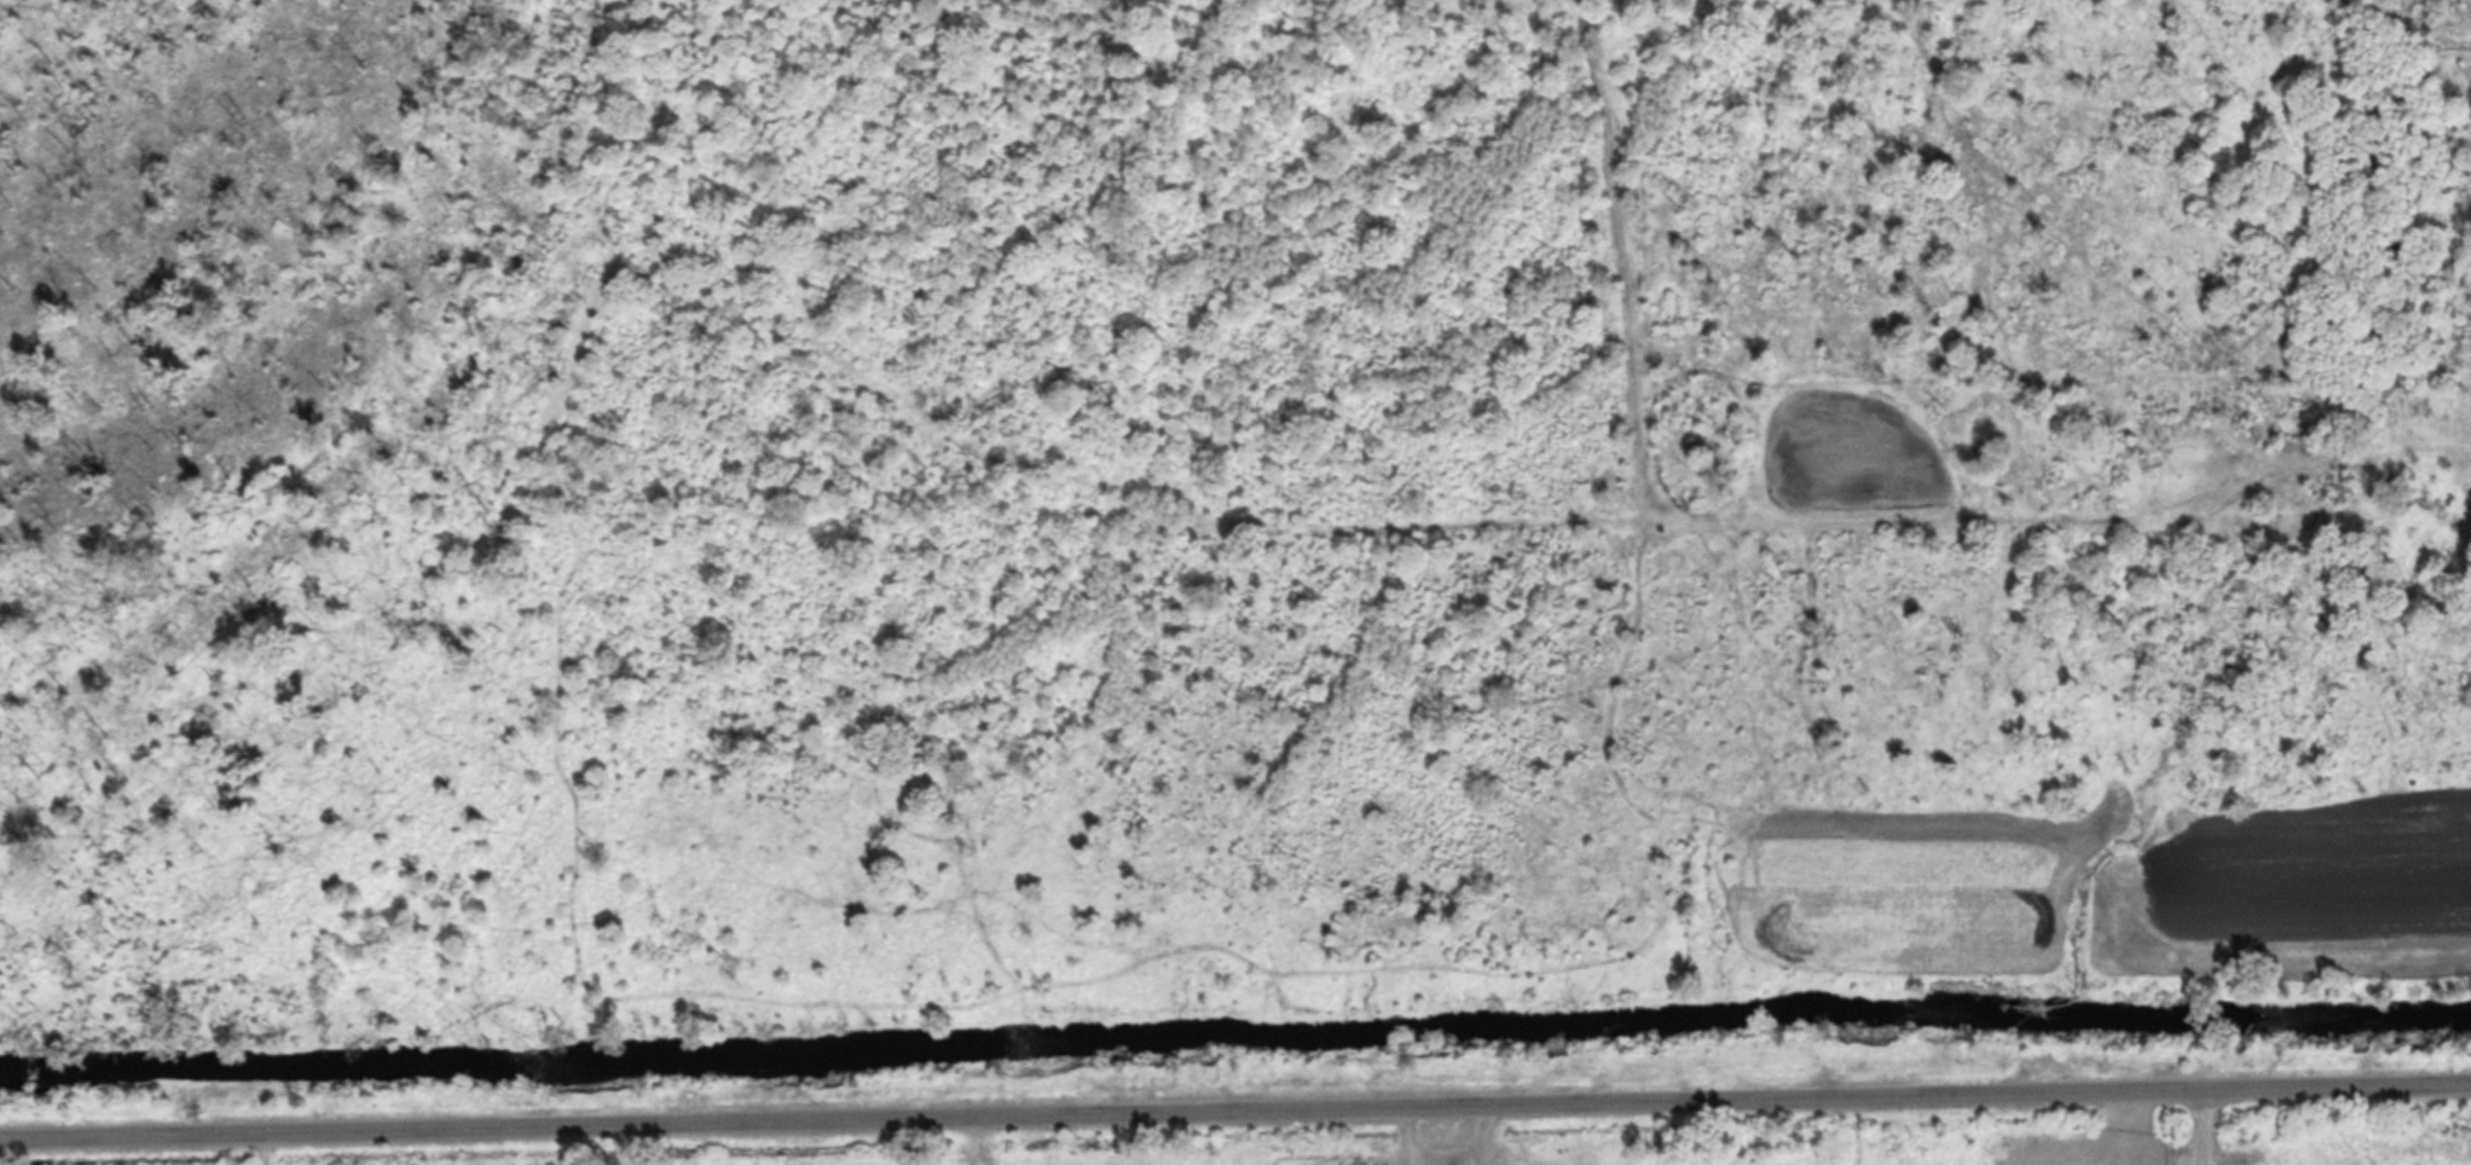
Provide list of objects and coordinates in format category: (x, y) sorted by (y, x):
river: (1235, 1044)
road: (1235, 1109)
road: (2203, 1128)

